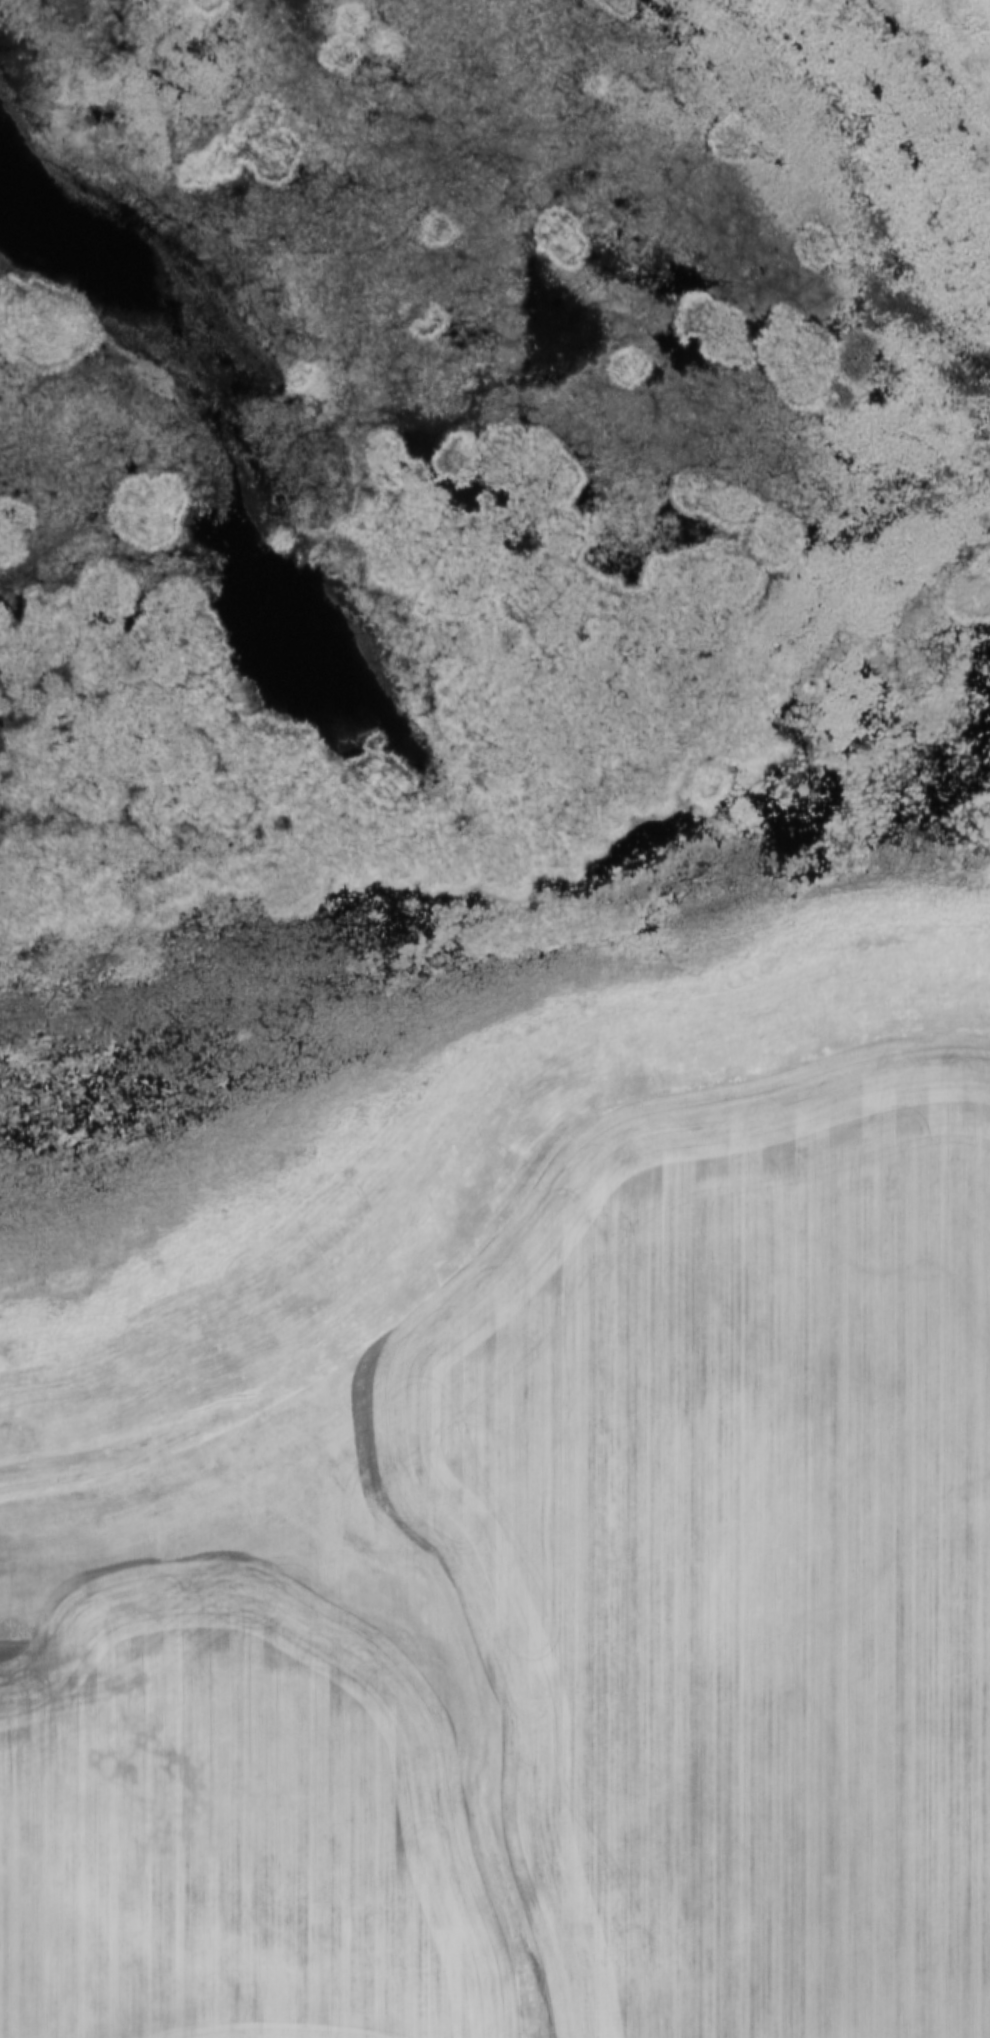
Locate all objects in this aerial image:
building: (328, 1120)
building: (23, 1274)

